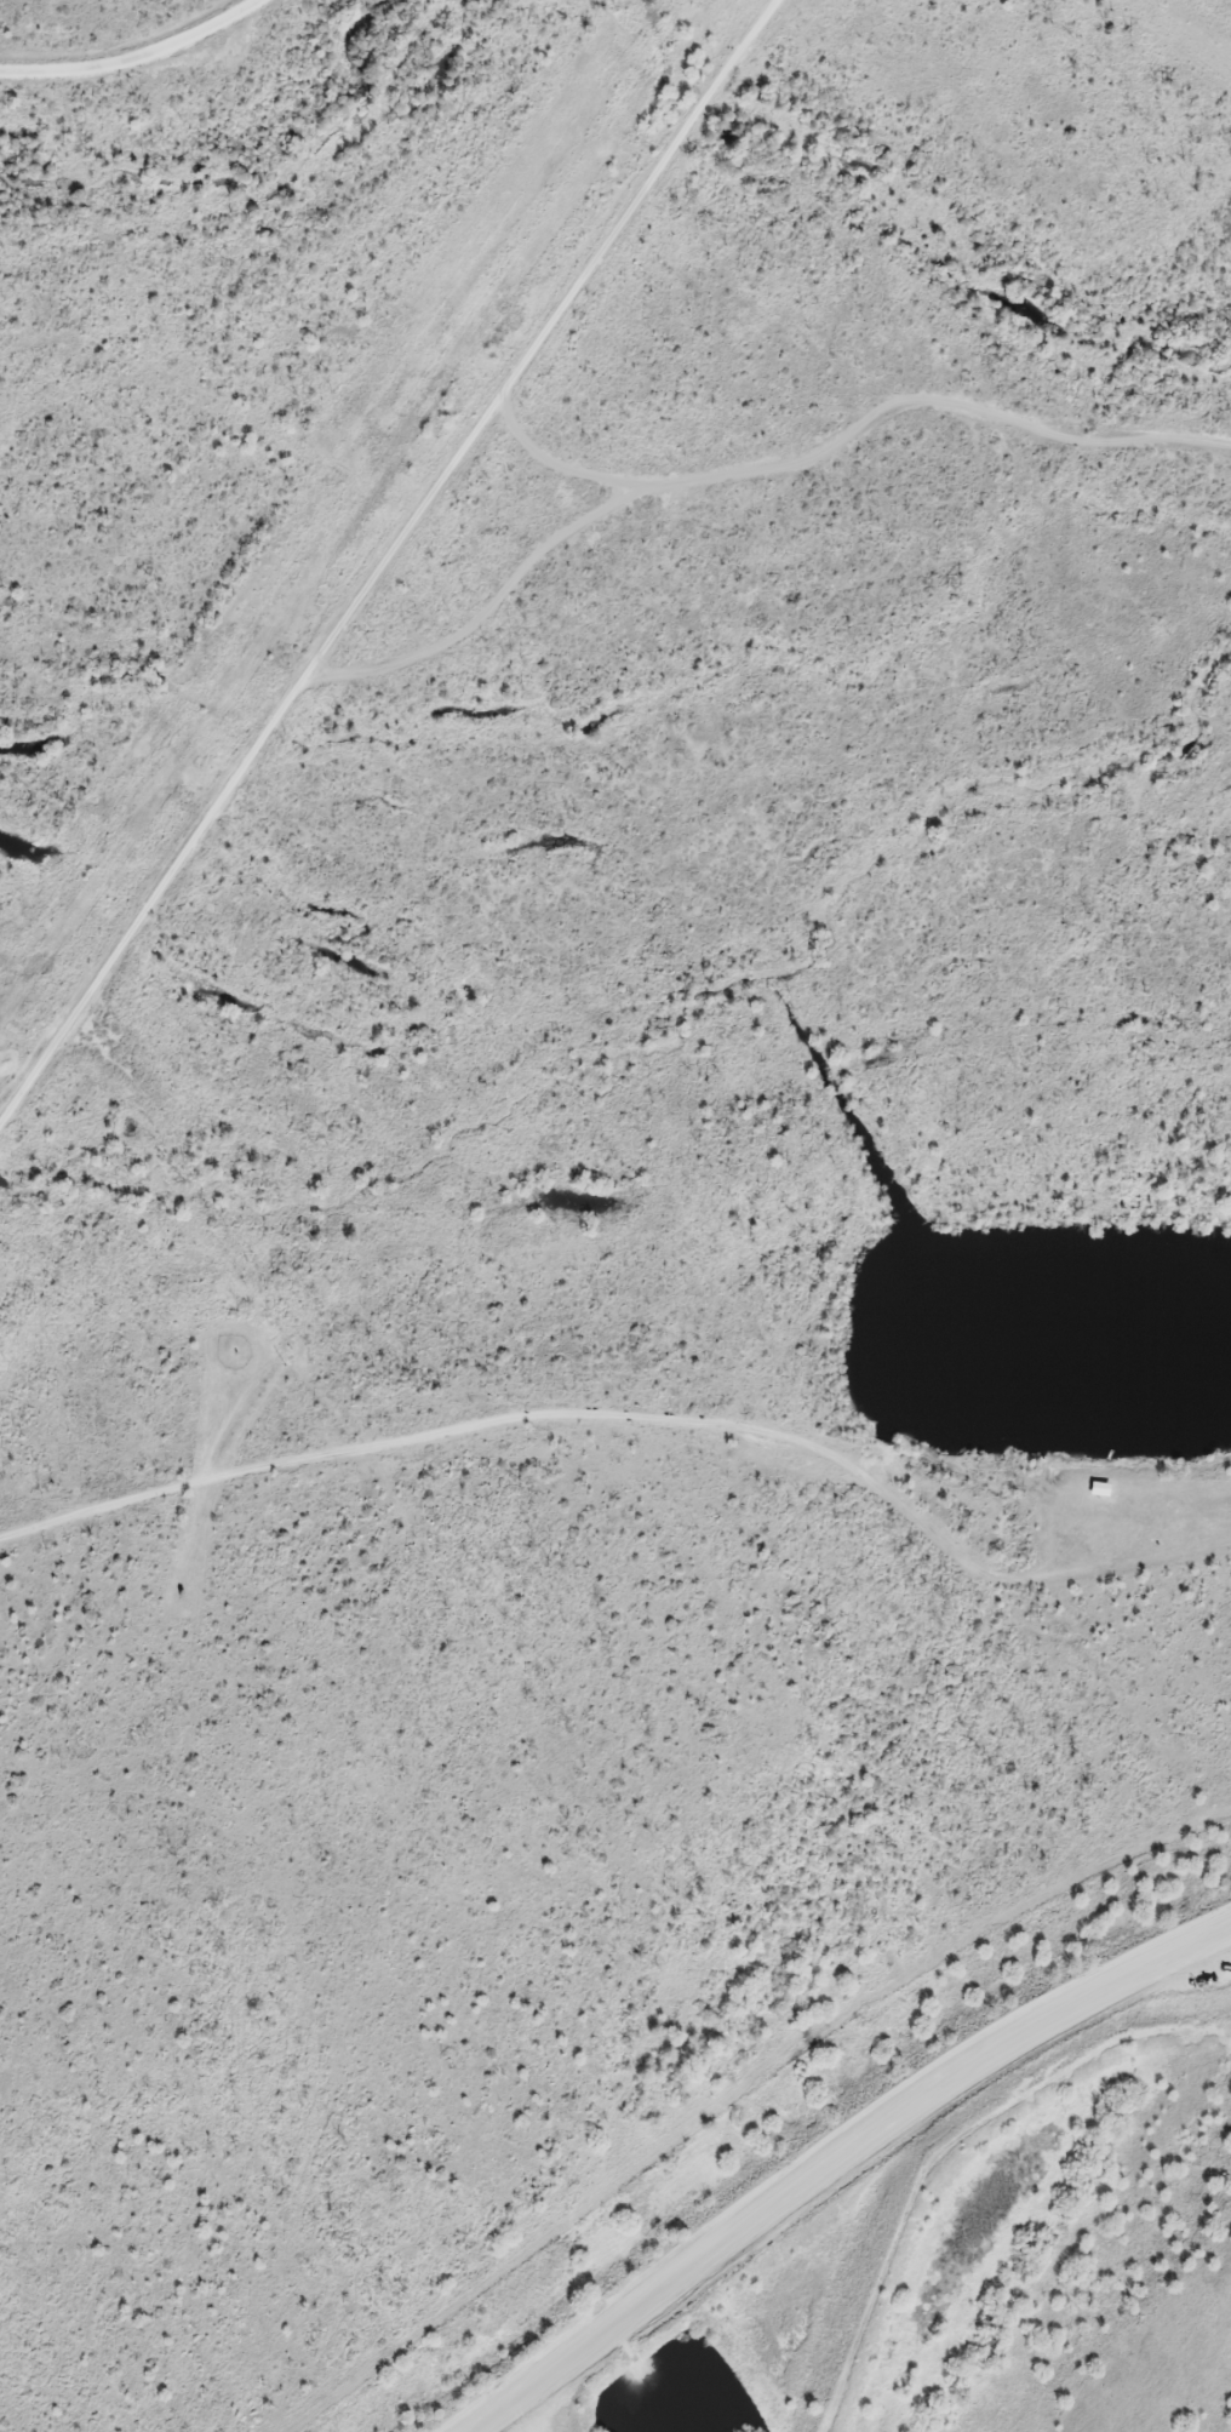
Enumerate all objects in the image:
road: (126, 50)
road: (387, 556)
road: (437, 1426)
road: (830, 2156)
quarry: (911, 2205)

